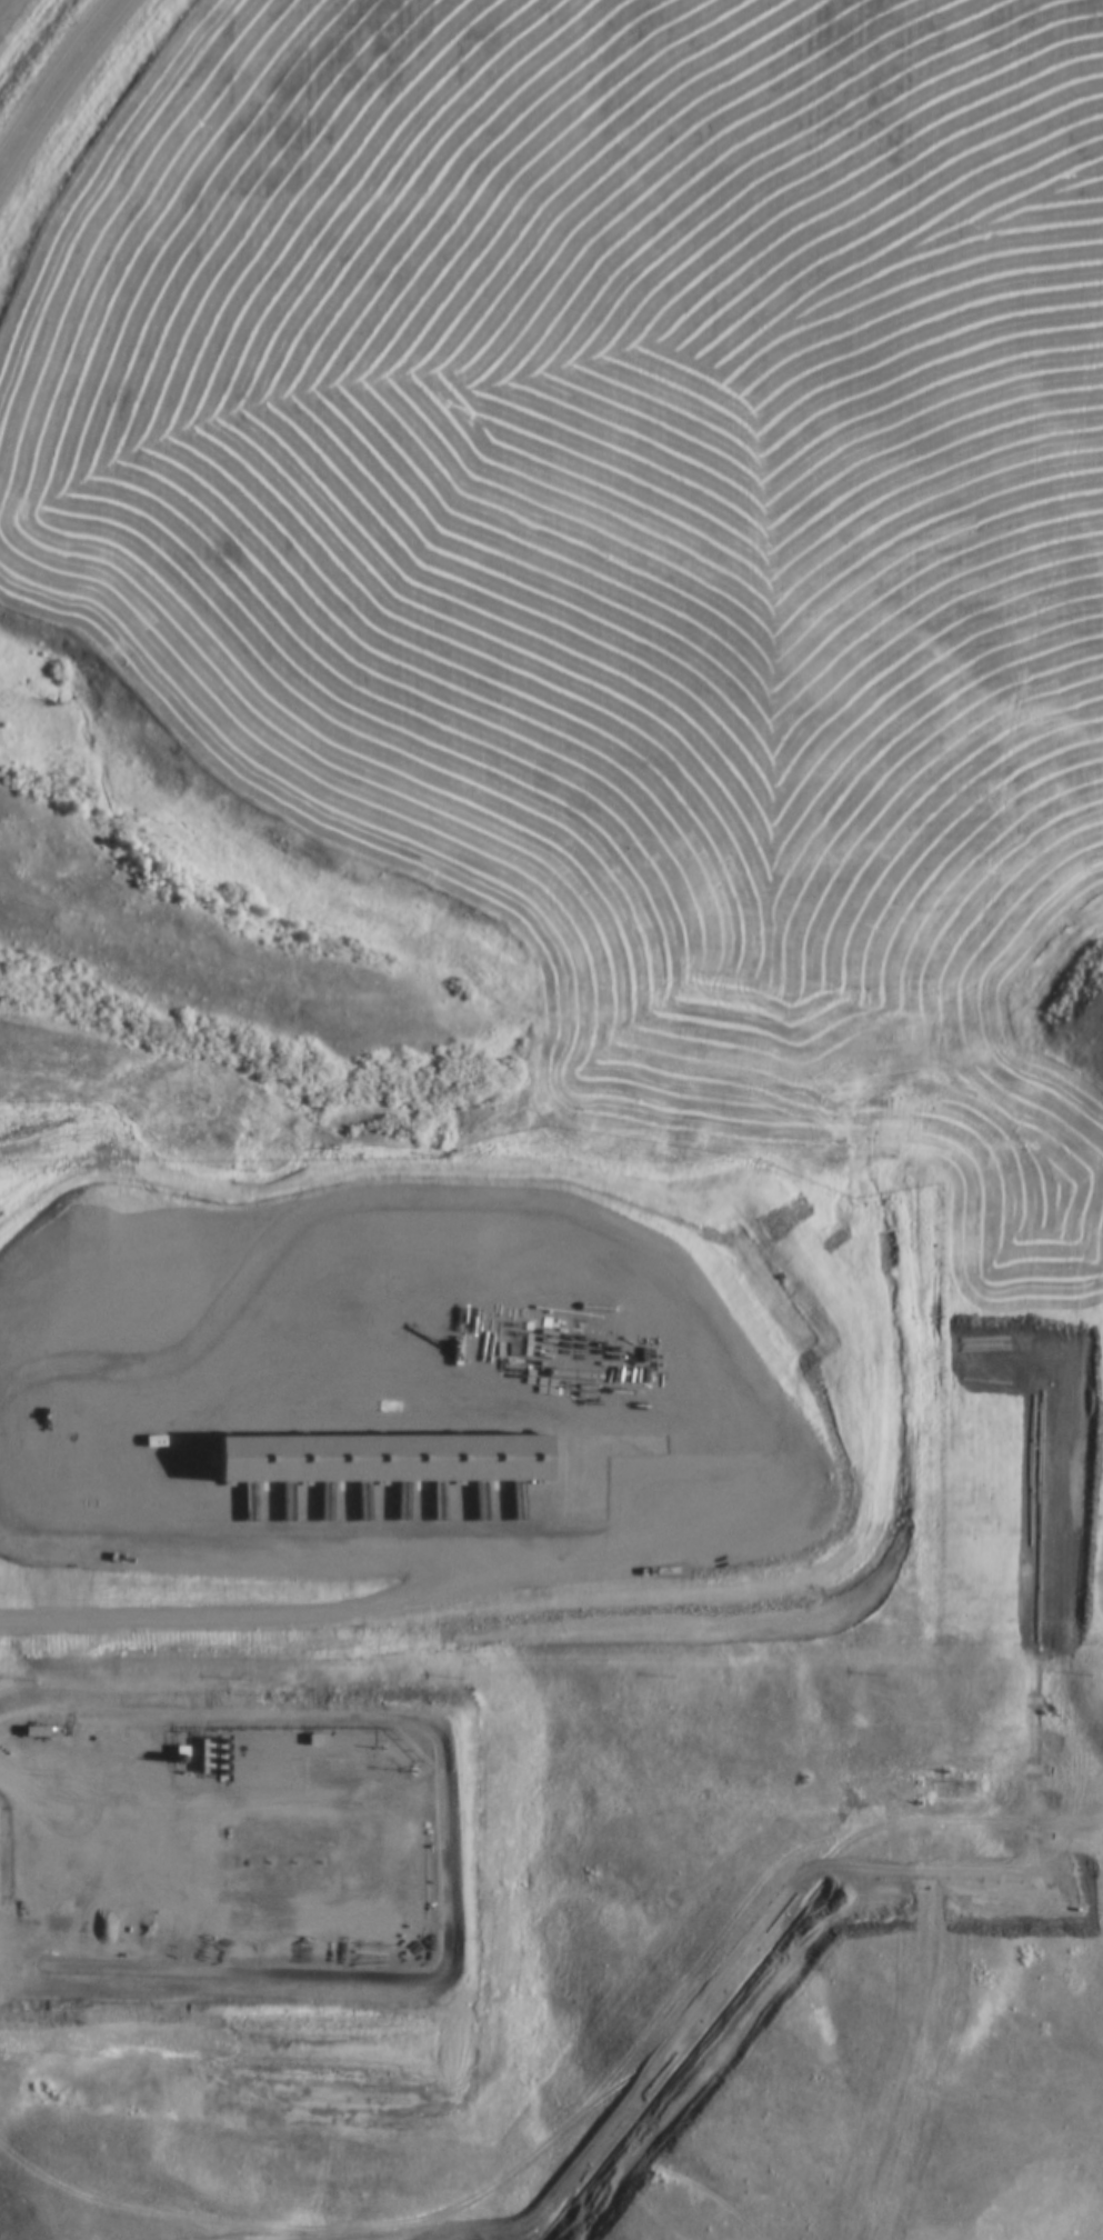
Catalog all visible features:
road: (57, 86)

